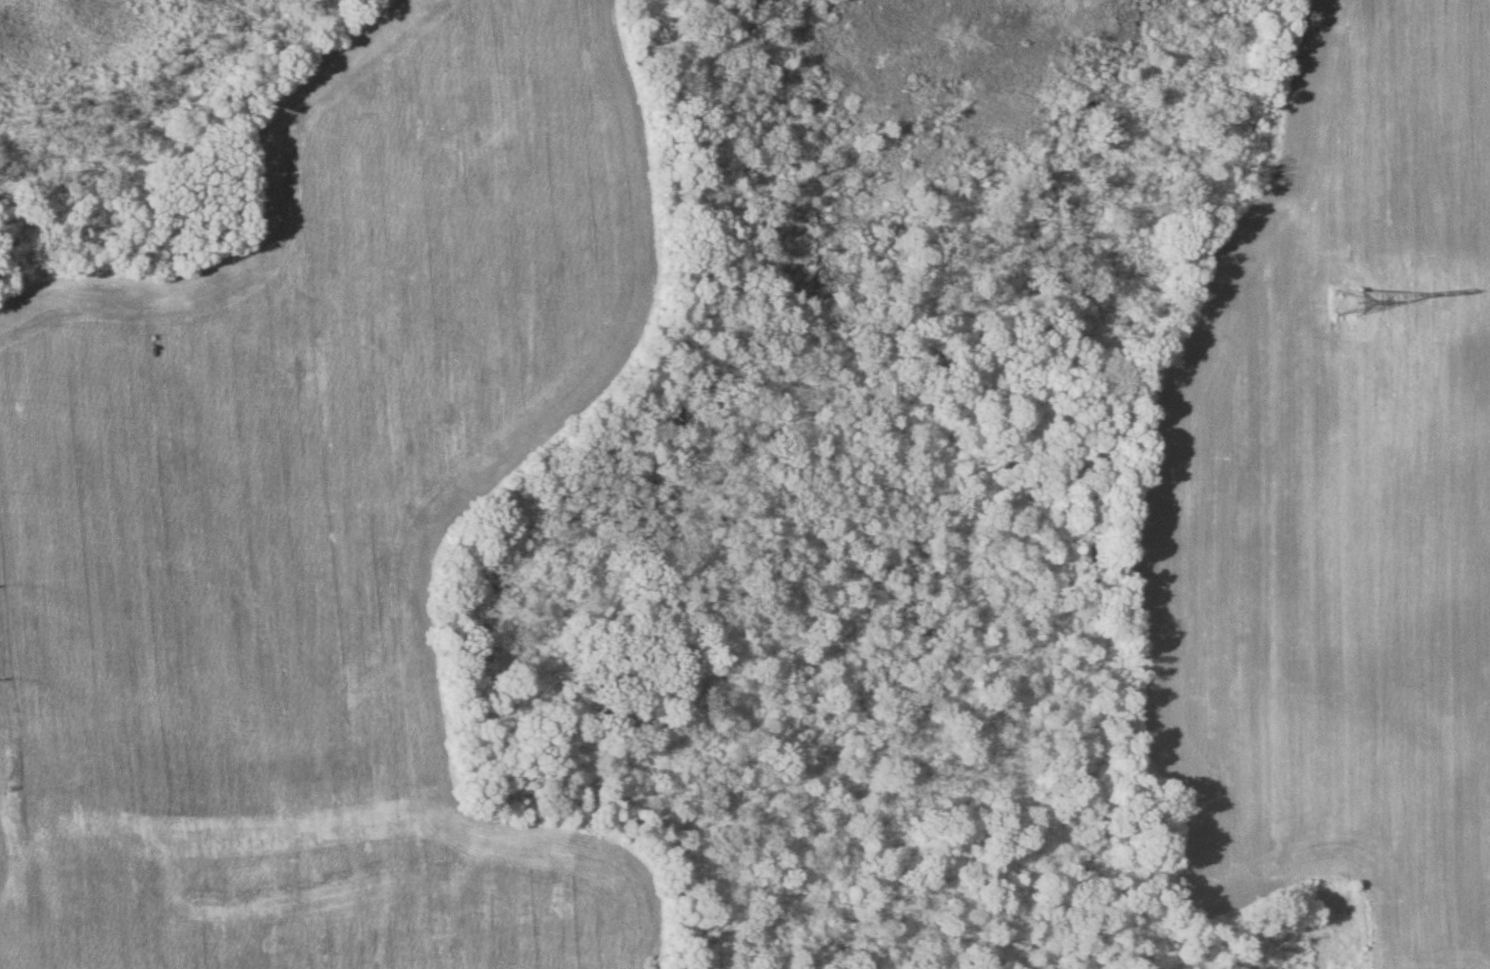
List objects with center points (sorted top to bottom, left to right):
power tower: (1345, 302)

